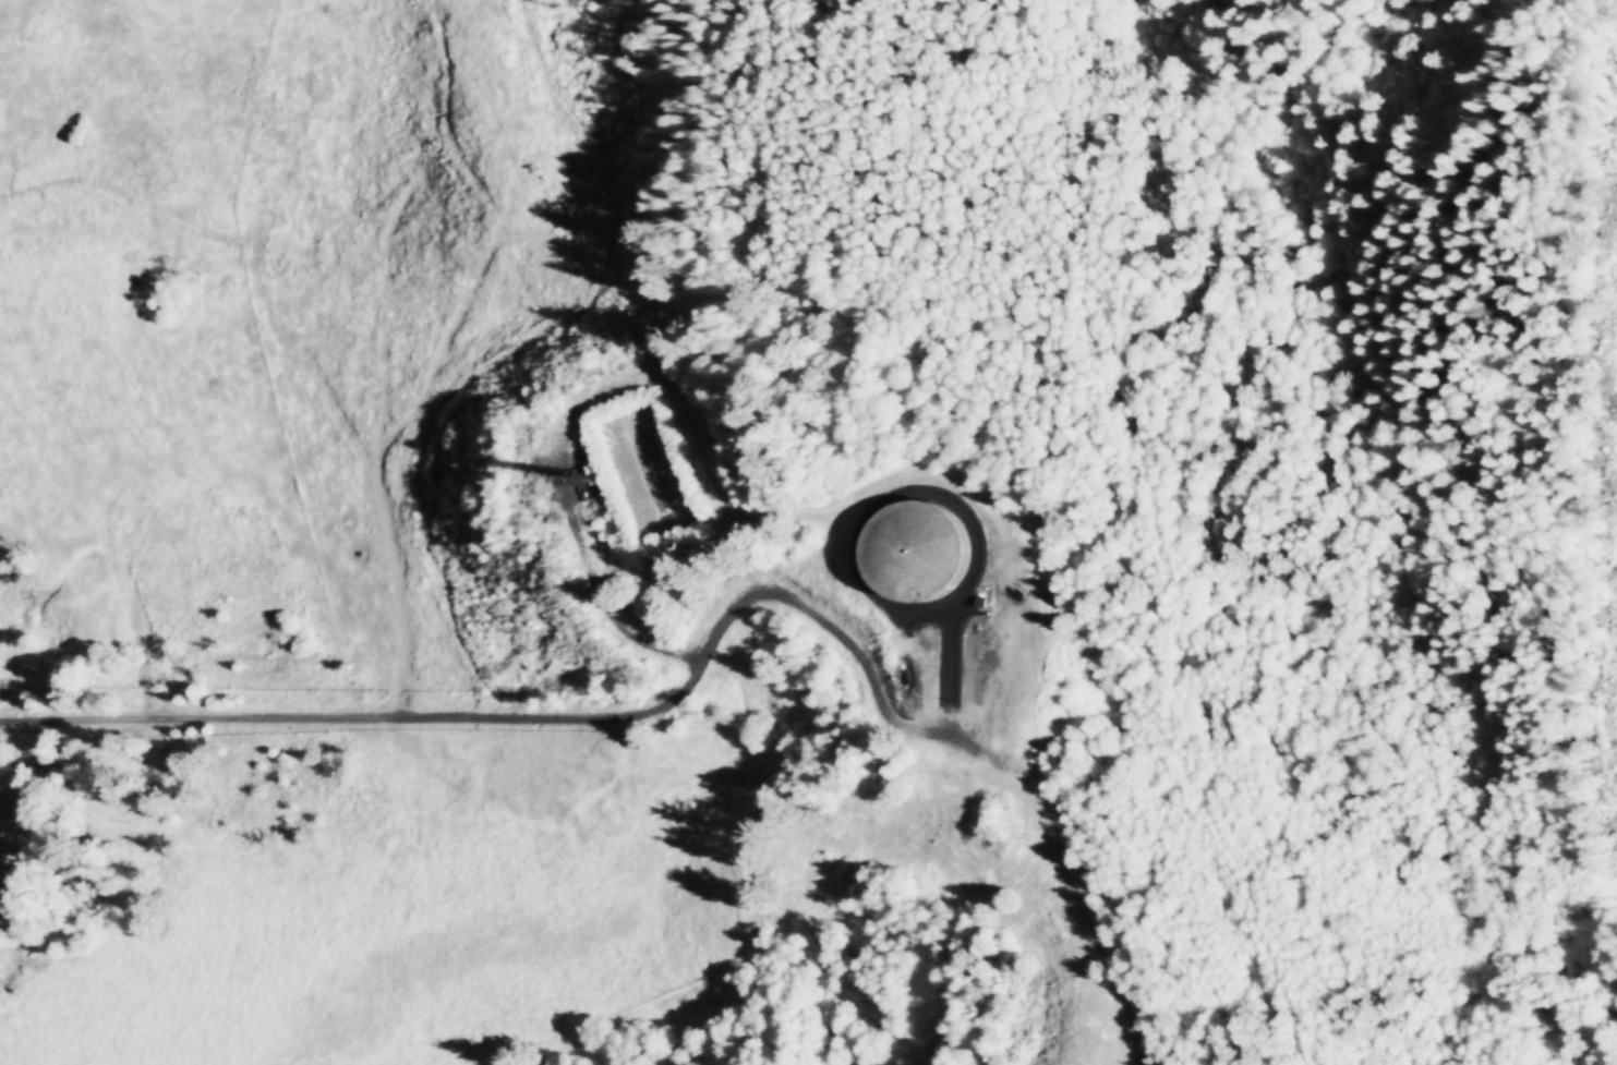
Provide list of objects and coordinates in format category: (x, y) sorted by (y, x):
park: (71, 1)
park: (1199, 221)
road: (1180, 517)
building: (917, 550)
storage tank: (917, 550)
road: (583, 717)

